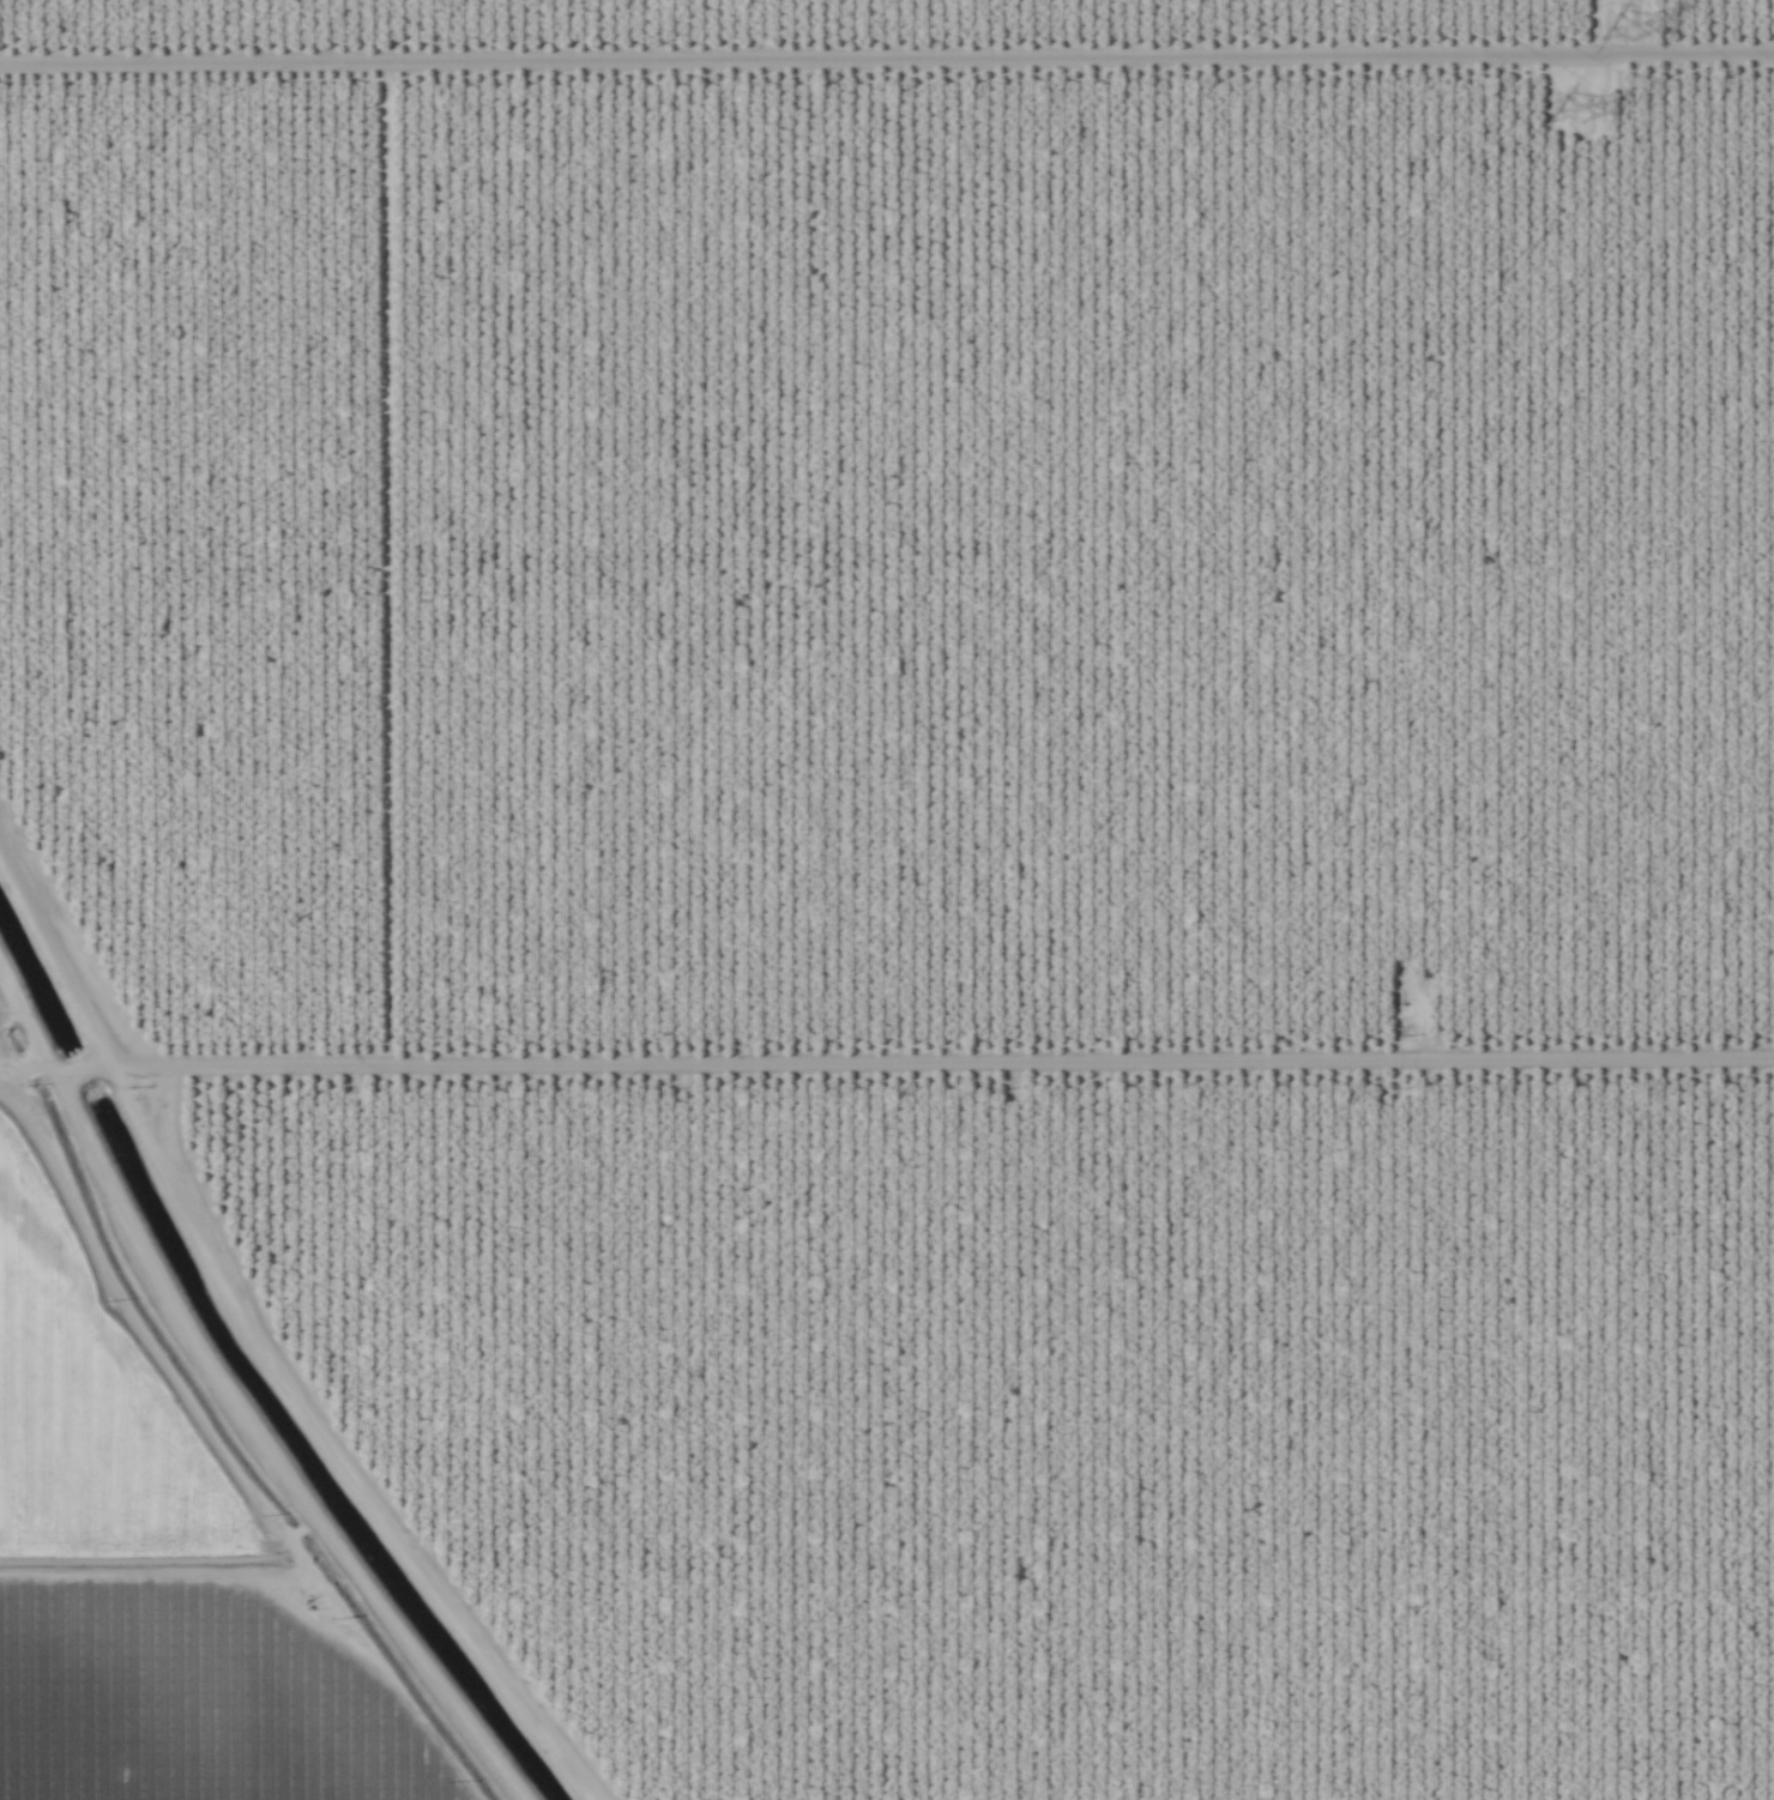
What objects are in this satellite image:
power tower: (1645, 28)
power tower: (1597, 110)
crop: (887, 900)
road: (14, 1053)
road: (759, 1098)
road: (218, 1451)

